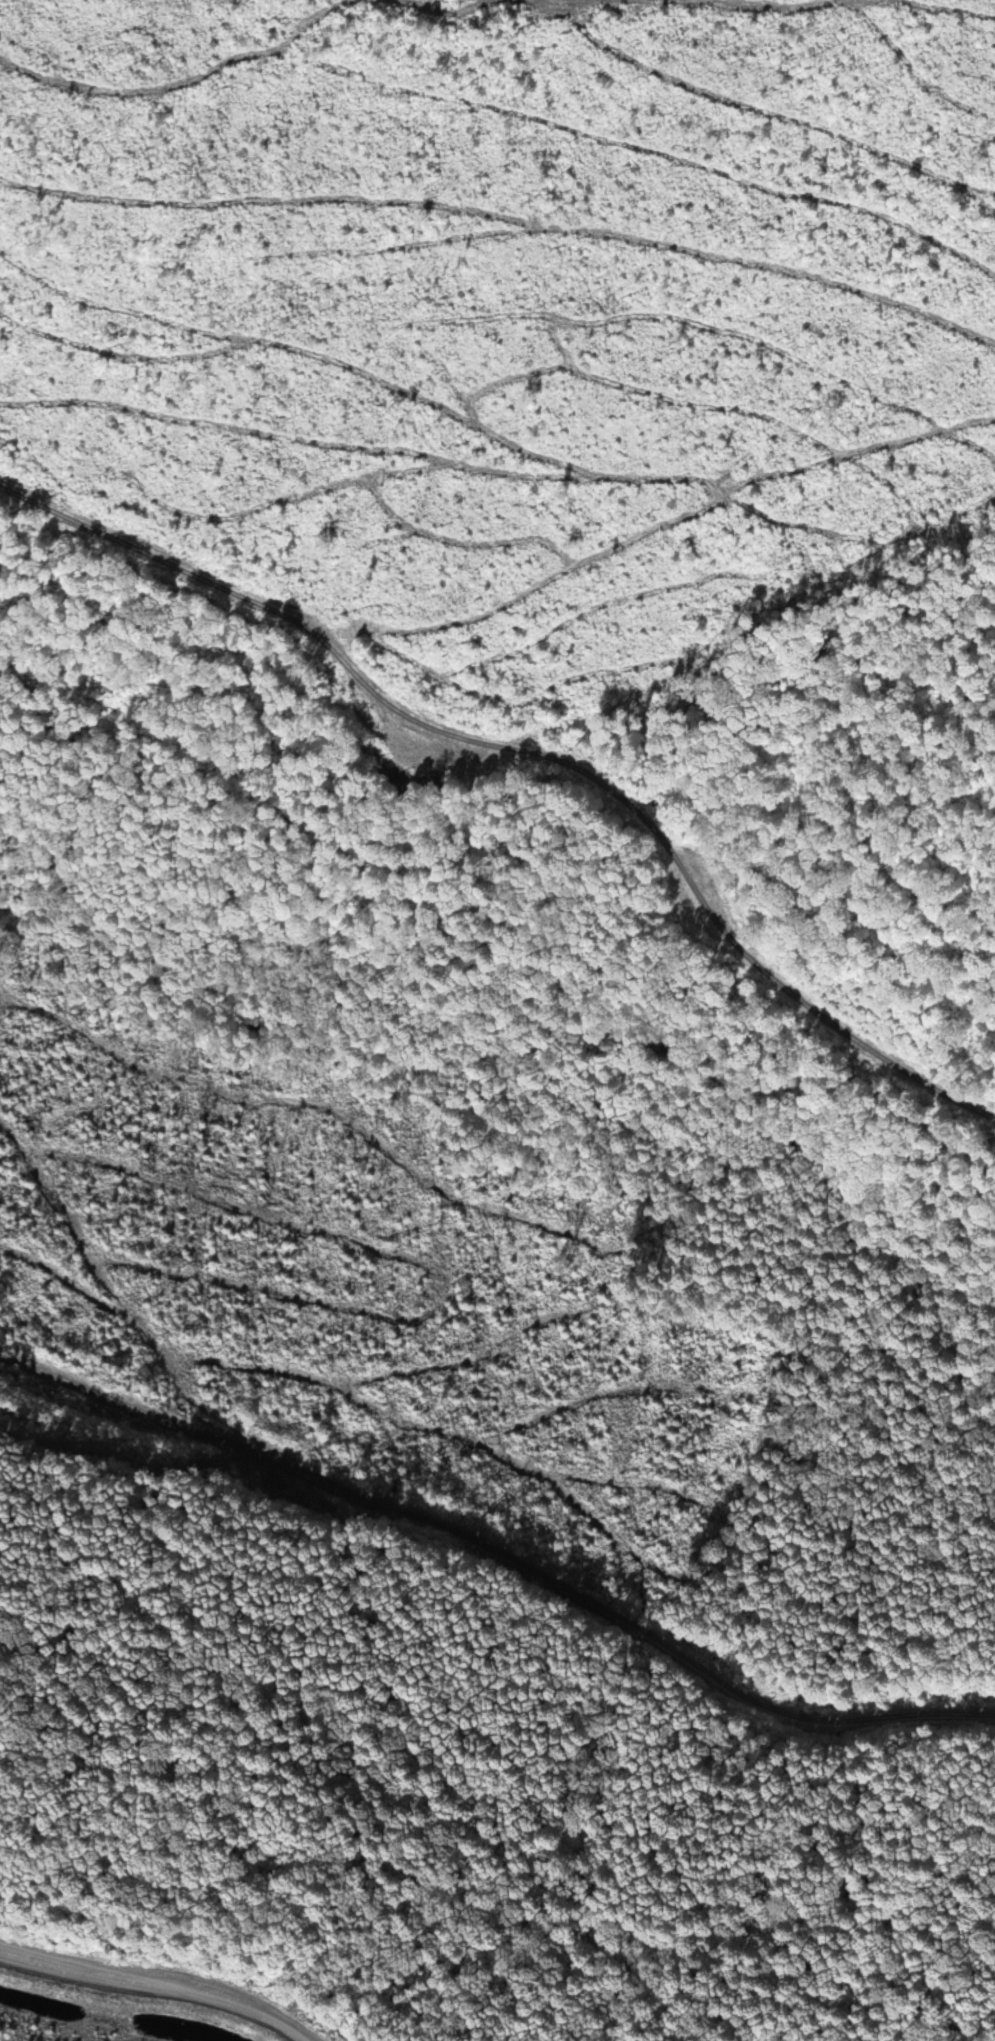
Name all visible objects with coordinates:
road: (169, 2028)

